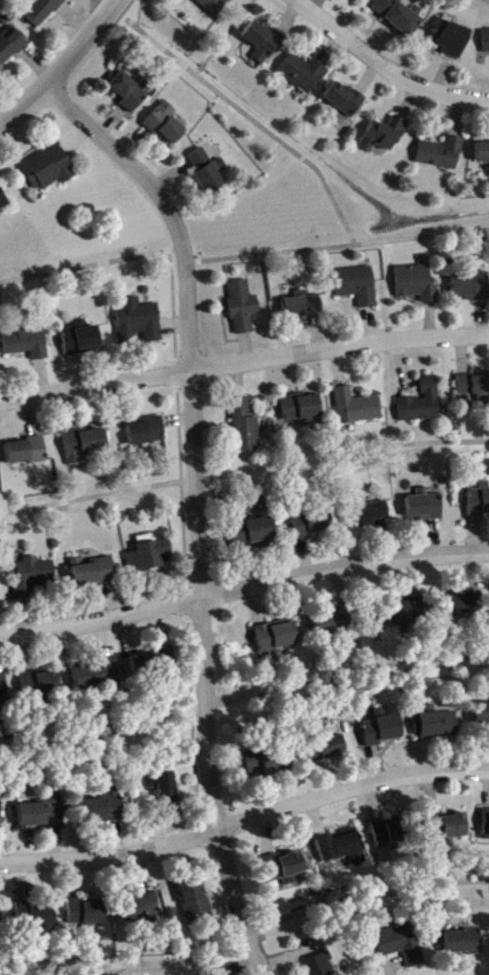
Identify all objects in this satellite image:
building: (361, 0)
building: (214, 6)
building: (42, 11)
road: (138, 11)
building: (400, 16)
road: (223, 35)
building: (452, 39)
road: (79, 42)
building: (486, 42)
building: (263, 43)
building: (11, 47)
road: (385, 66)
building: (303, 74)
building: (130, 92)
building: (345, 101)
road: (23, 102)
road: (256, 118)
building: (167, 125)
building: (385, 137)
building: (483, 153)
building: (442, 155)
building: (48, 169)
building: (207, 174)
building: (3, 201)
road: (339, 246)
road: (93, 266)
building: (416, 285)
building: (358, 286)
building: (471, 288)
building: (304, 307)
building: (244, 308)
building: (139, 323)
building: (82, 340)
building: (29, 343)
road: (244, 362)
building: (474, 386)
building: (422, 404)
building: (357, 408)
building: (302, 409)
building: (246, 428)
building: (147, 433)
building: (84, 445)
building: (26, 452)
road: (243, 474)
building: (479, 502)
road: (194, 507)
building: (425, 507)
building: (369, 515)
building: (310, 525)
building: (251, 532)
building: (151, 557)
building: (93, 575)
building: (34, 578)
road: (243, 587)
building: (476, 604)
building: (453, 608)
building: (404, 613)
building: (330, 626)
building: (276, 637)
building: (153, 663)
road: (347, 675)
building: (99, 678)
building: (41, 685)
building: (3, 694)
building: (482, 716)
building: (436, 725)
building: (383, 729)
road: (103, 734)
building: (324, 751)
building: (269, 764)
building: (166, 789)
building: (102, 808)
building: (0, 813)
building: (43, 814)
road: (245, 823)
building: (485, 826)
building: (447, 828)
building: (389, 836)
building: (342, 849)
building: (285, 869)
building: (194, 899)
building: (141, 910)
building: (87, 914)
building: (38, 916)
building: (0, 920)
road: (245, 932)
building: (463, 944)
building: (400, 945)
building: (321, 966)

